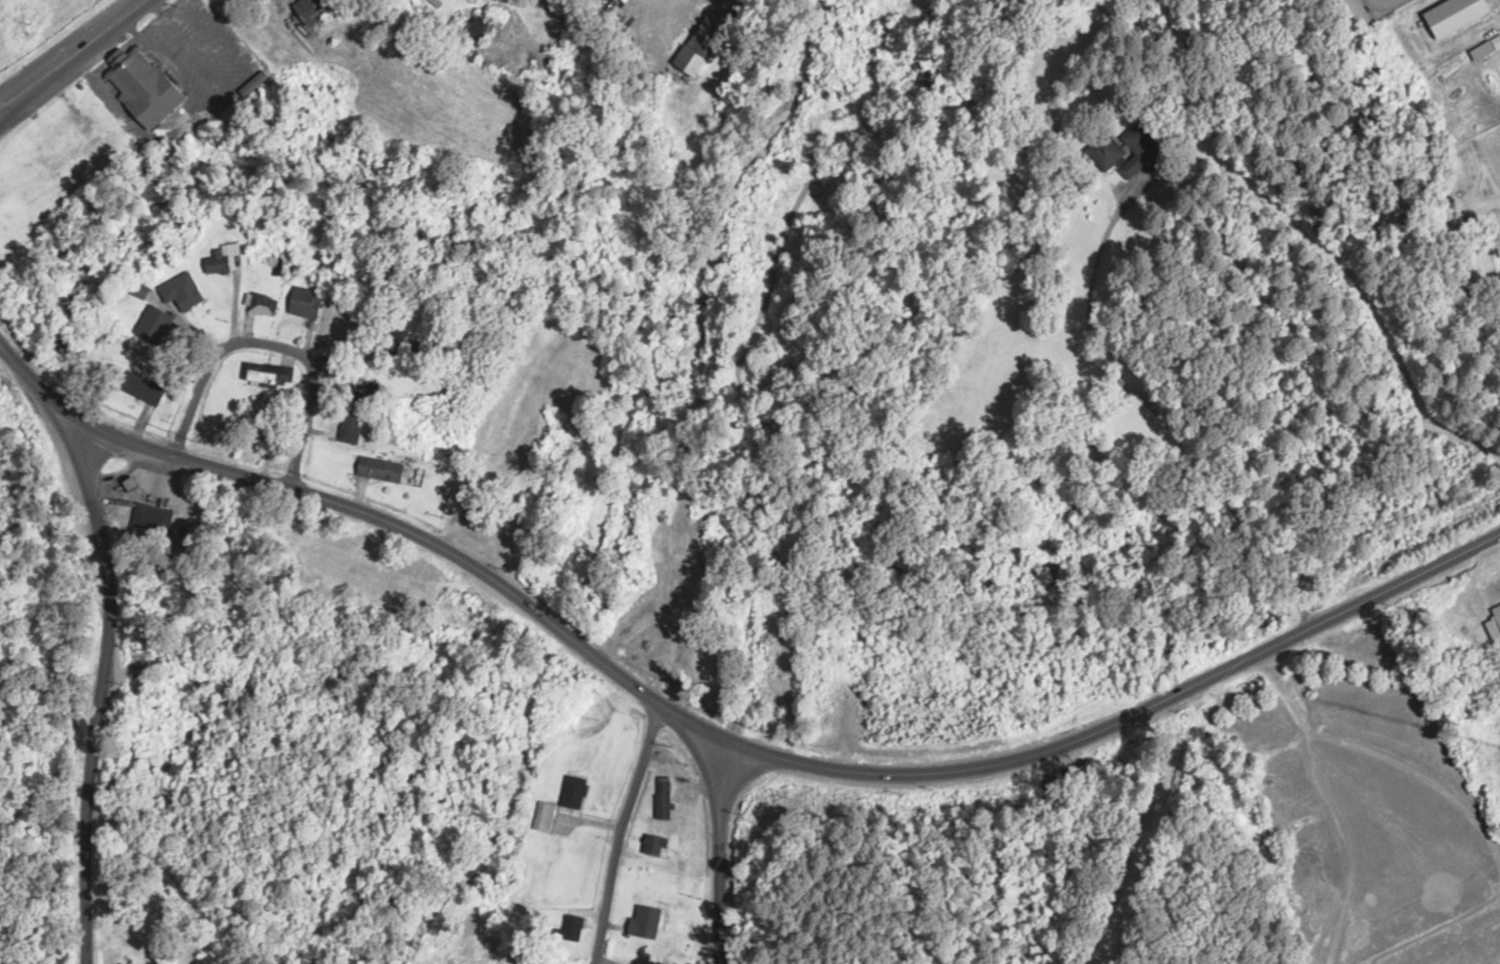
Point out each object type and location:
building: (229, 8)
building: (314, 8)
building: (711, 29)
building: (479, 30)
road: (69, 56)
building: (691, 60)
building: (143, 85)
road: (13, 96)
building: (1140, 151)
building: (1107, 153)
building: (222, 260)
building: (140, 290)
building: (182, 291)
building: (308, 303)
building: (262, 304)
building: (154, 324)
road: (269, 354)
building: (269, 374)
building: (145, 387)
building: (350, 430)
building: (380, 469)
road: (333, 509)
building: (687, 572)
road: (80, 662)
road: (1126, 719)
building: (576, 792)
building: (662, 798)
road: (719, 809)
road: (615, 831)
building: (654, 844)
building: (644, 921)
building: (573, 930)

